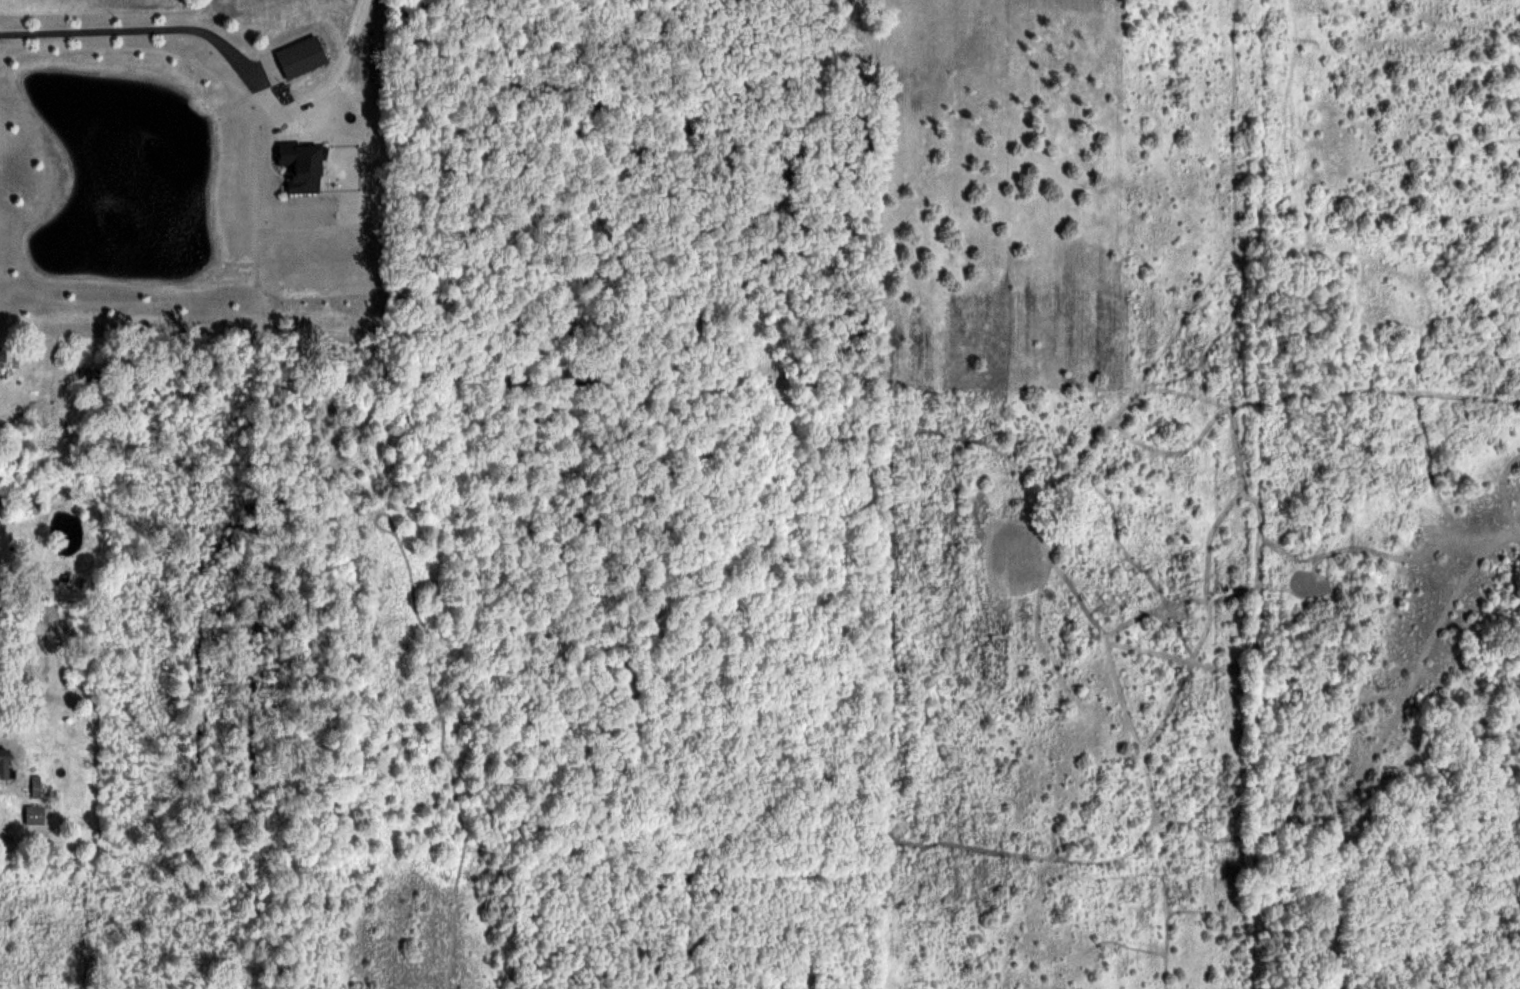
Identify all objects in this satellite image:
road: (156, 28)
building: (299, 57)
building: (4, 763)
building: (35, 785)
building: (34, 815)

